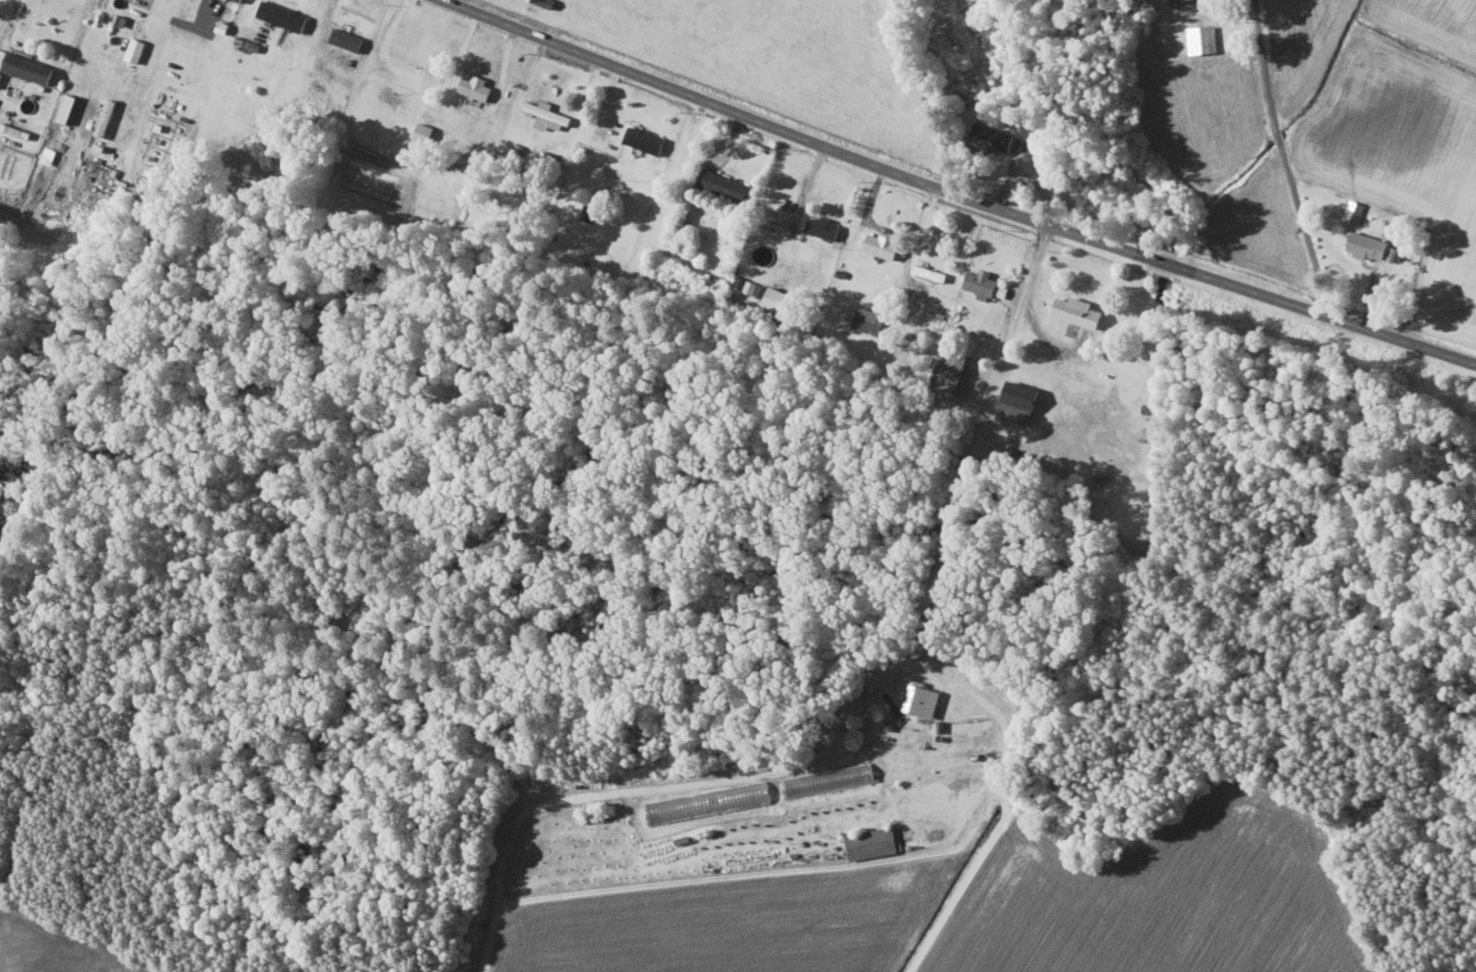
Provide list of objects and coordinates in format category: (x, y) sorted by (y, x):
building: (1189, 1)
road: (16, 15)
building: (284, 15)
building: (348, 39)
building: (1203, 39)
building: (136, 50)
building: (30, 67)
building: (477, 87)
building: (68, 107)
building: (549, 115)
building: (107, 117)
building: (424, 131)
building: (993, 137)
building: (645, 139)
road: (1282, 159)
building: (726, 184)
road: (958, 193)
building: (1355, 211)
building: (824, 227)
building: (884, 245)
building: (1373, 246)
building: (932, 272)
building: (986, 284)
building: (1079, 311)
building: (870, 320)
building: (949, 369)
building: (1021, 402)
road: (937, 620)
building: (923, 698)
building: (830, 778)
road: (668, 786)
building: (709, 801)
building: (873, 842)

